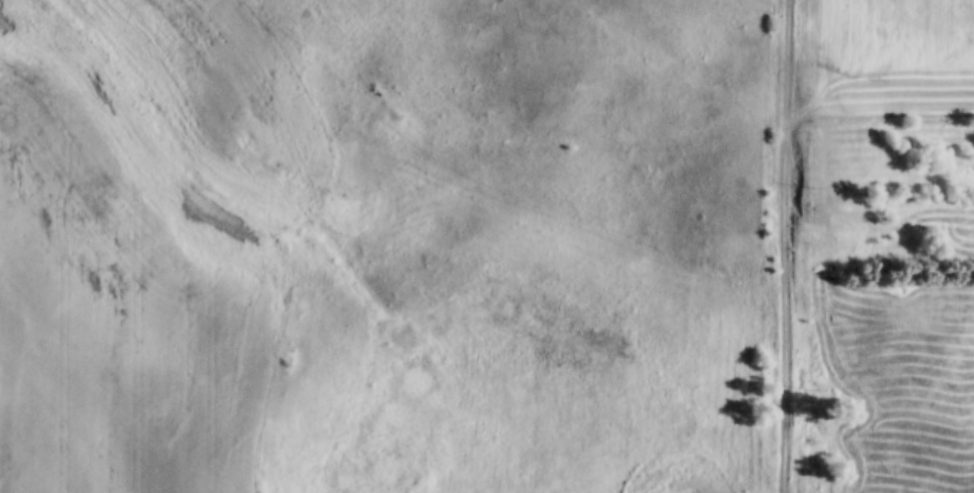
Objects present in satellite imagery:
road: (782, 246)

